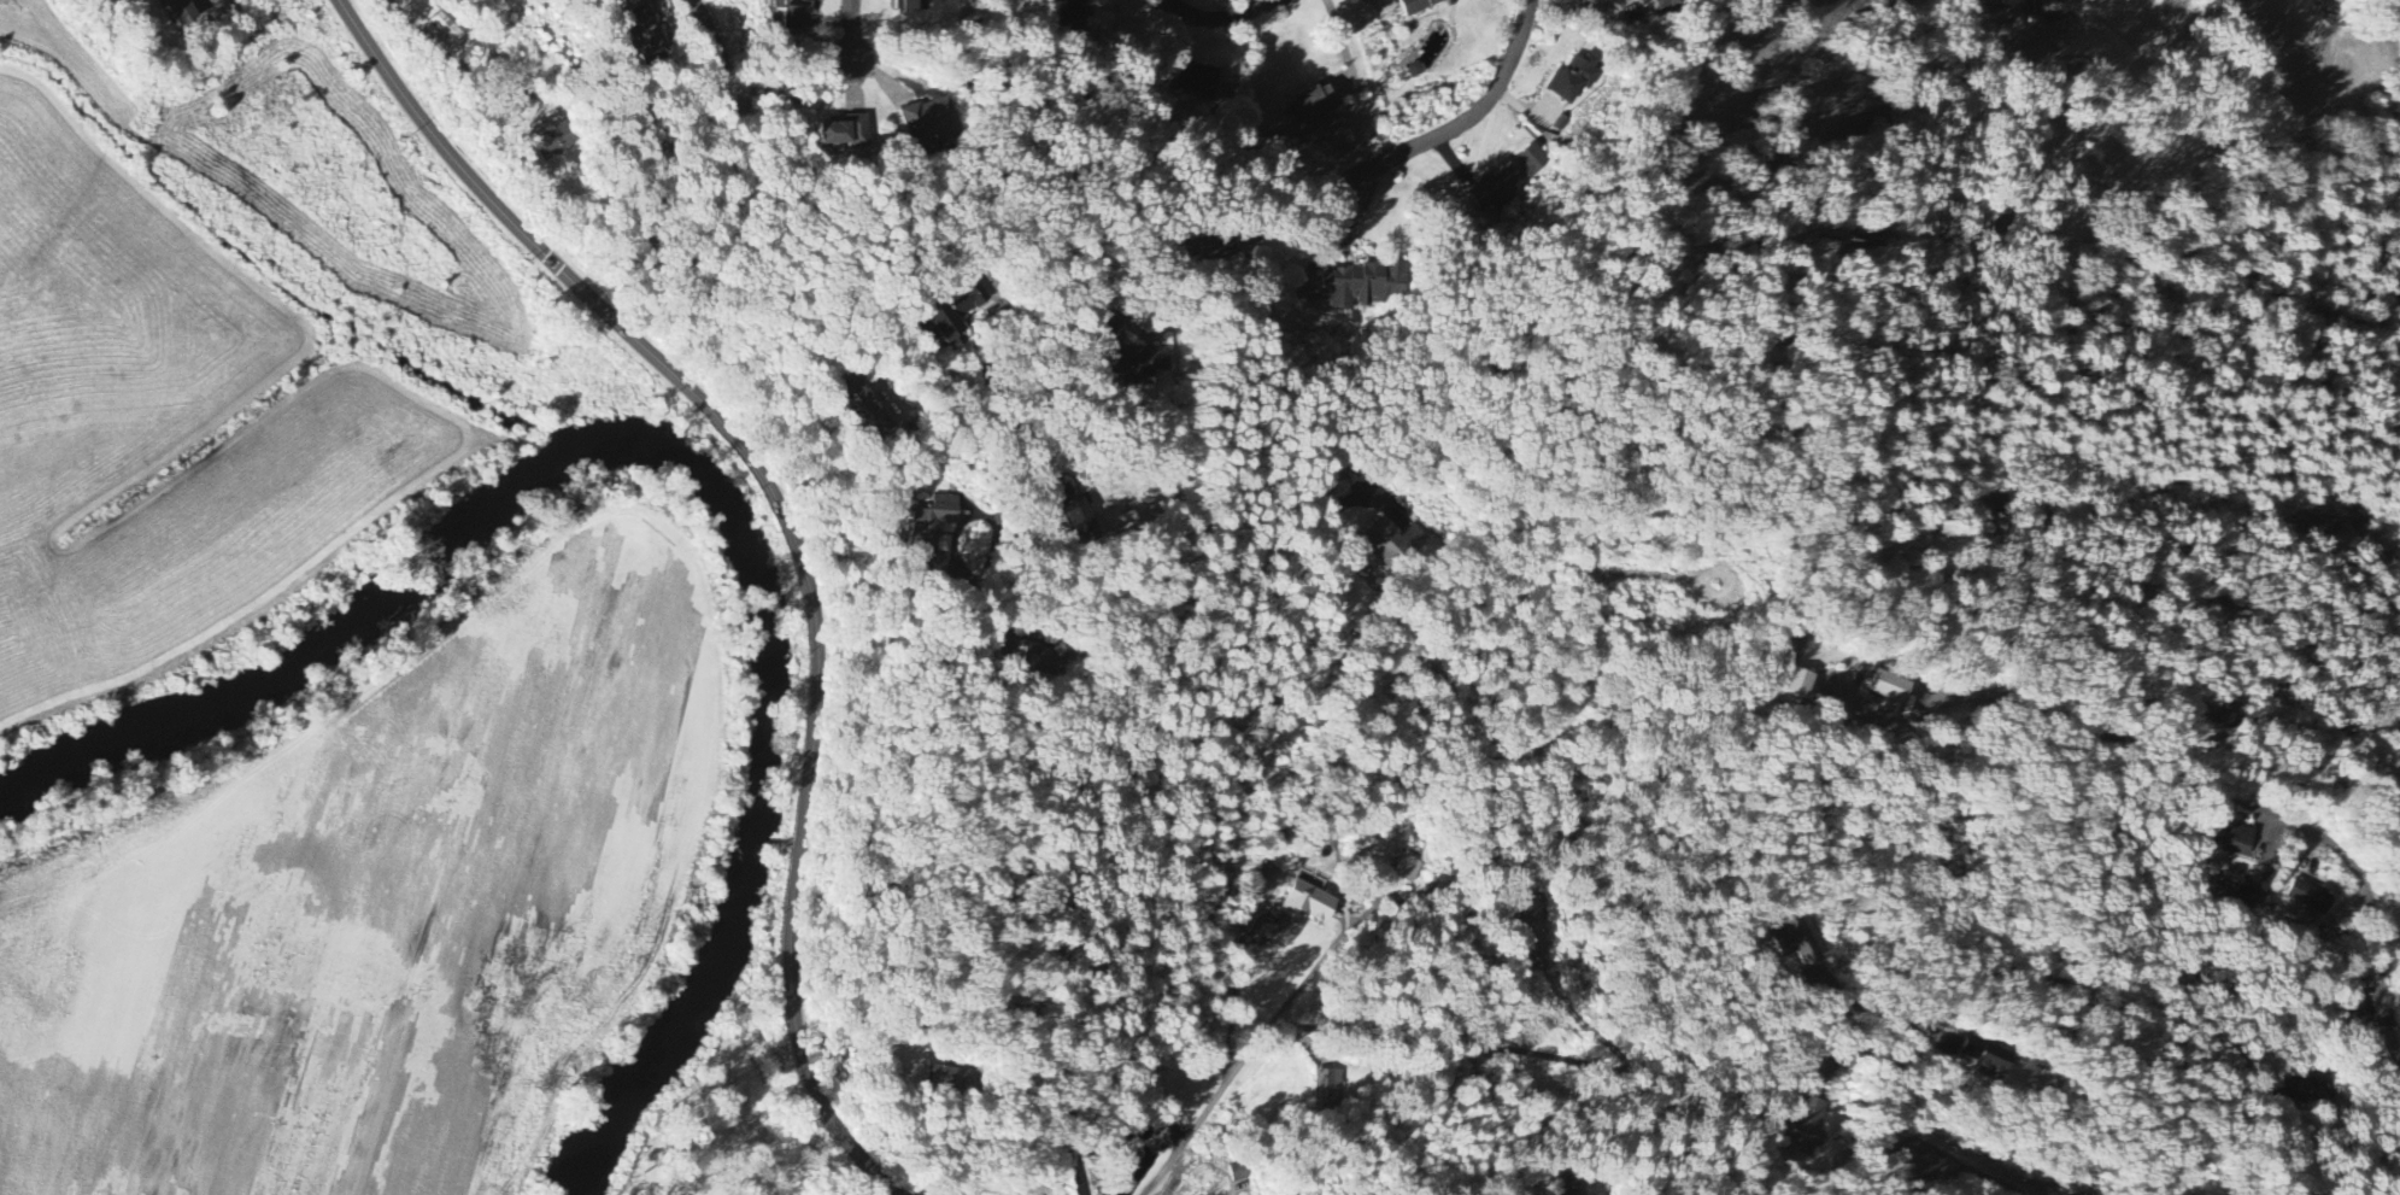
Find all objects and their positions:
building: (1989, 2)
building: (2011, 2)
road: (210, 4)
building: (1665, 4)
building: (914, 5)
building: (1421, 5)
building: (2058, 8)
road: (1585, 10)
building: (182, 12)
building: (1069, 12)
building: (793, 13)
road: (1221, 18)
building: (445, 29)
road: (851, 33)
building: (645, 34)
road: (1345, 48)
road: (717, 51)
building: (1575, 78)
building: (1196, 80)
building: (1313, 105)
road: (1462, 123)
building: (931, 124)
building: (845, 134)
building: (553, 141)
building: (1535, 160)
building: (1496, 189)
building: (1211, 248)
building: (1363, 286)
building: (956, 315)
road: (1033, 329)
building: (1138, 363)
building: (863, 410)
road: (1017, 415)
building: (1074, 520)
building: (934, 522)
road: (794, 532)
building: (1391, 543)
building: (937, 564)
building: (1043, 660)
river: (288, 662)
building: (1790, 683)
road: (1850, 686)
building: (1883, 686)
road: (1439, 692)
river: (769, 767)
road: (2242, 803)
road: (1128, 808)
road: (992, 819)
building: (2229, 838)
building: (1407, 868)
building: (2302, 897)
building: (2240, 900)
building: (1303, 904)
building: (1532, 927)
building: (1792, 945)
road: (1843, 998)
road: (1583, 1023)
road: (1267, 1036)
road: (1847, 1055)
road: (1555, 1056)
building: (1981, 1060)
building: (935, 1080)
building: (1330, 1089)
road: (1893, 1090)
building: (2398, 1126)
building: (1802, 1127)
building: (1238, 1172)
road: (1968, 1172)
road: (1903, 1178)

